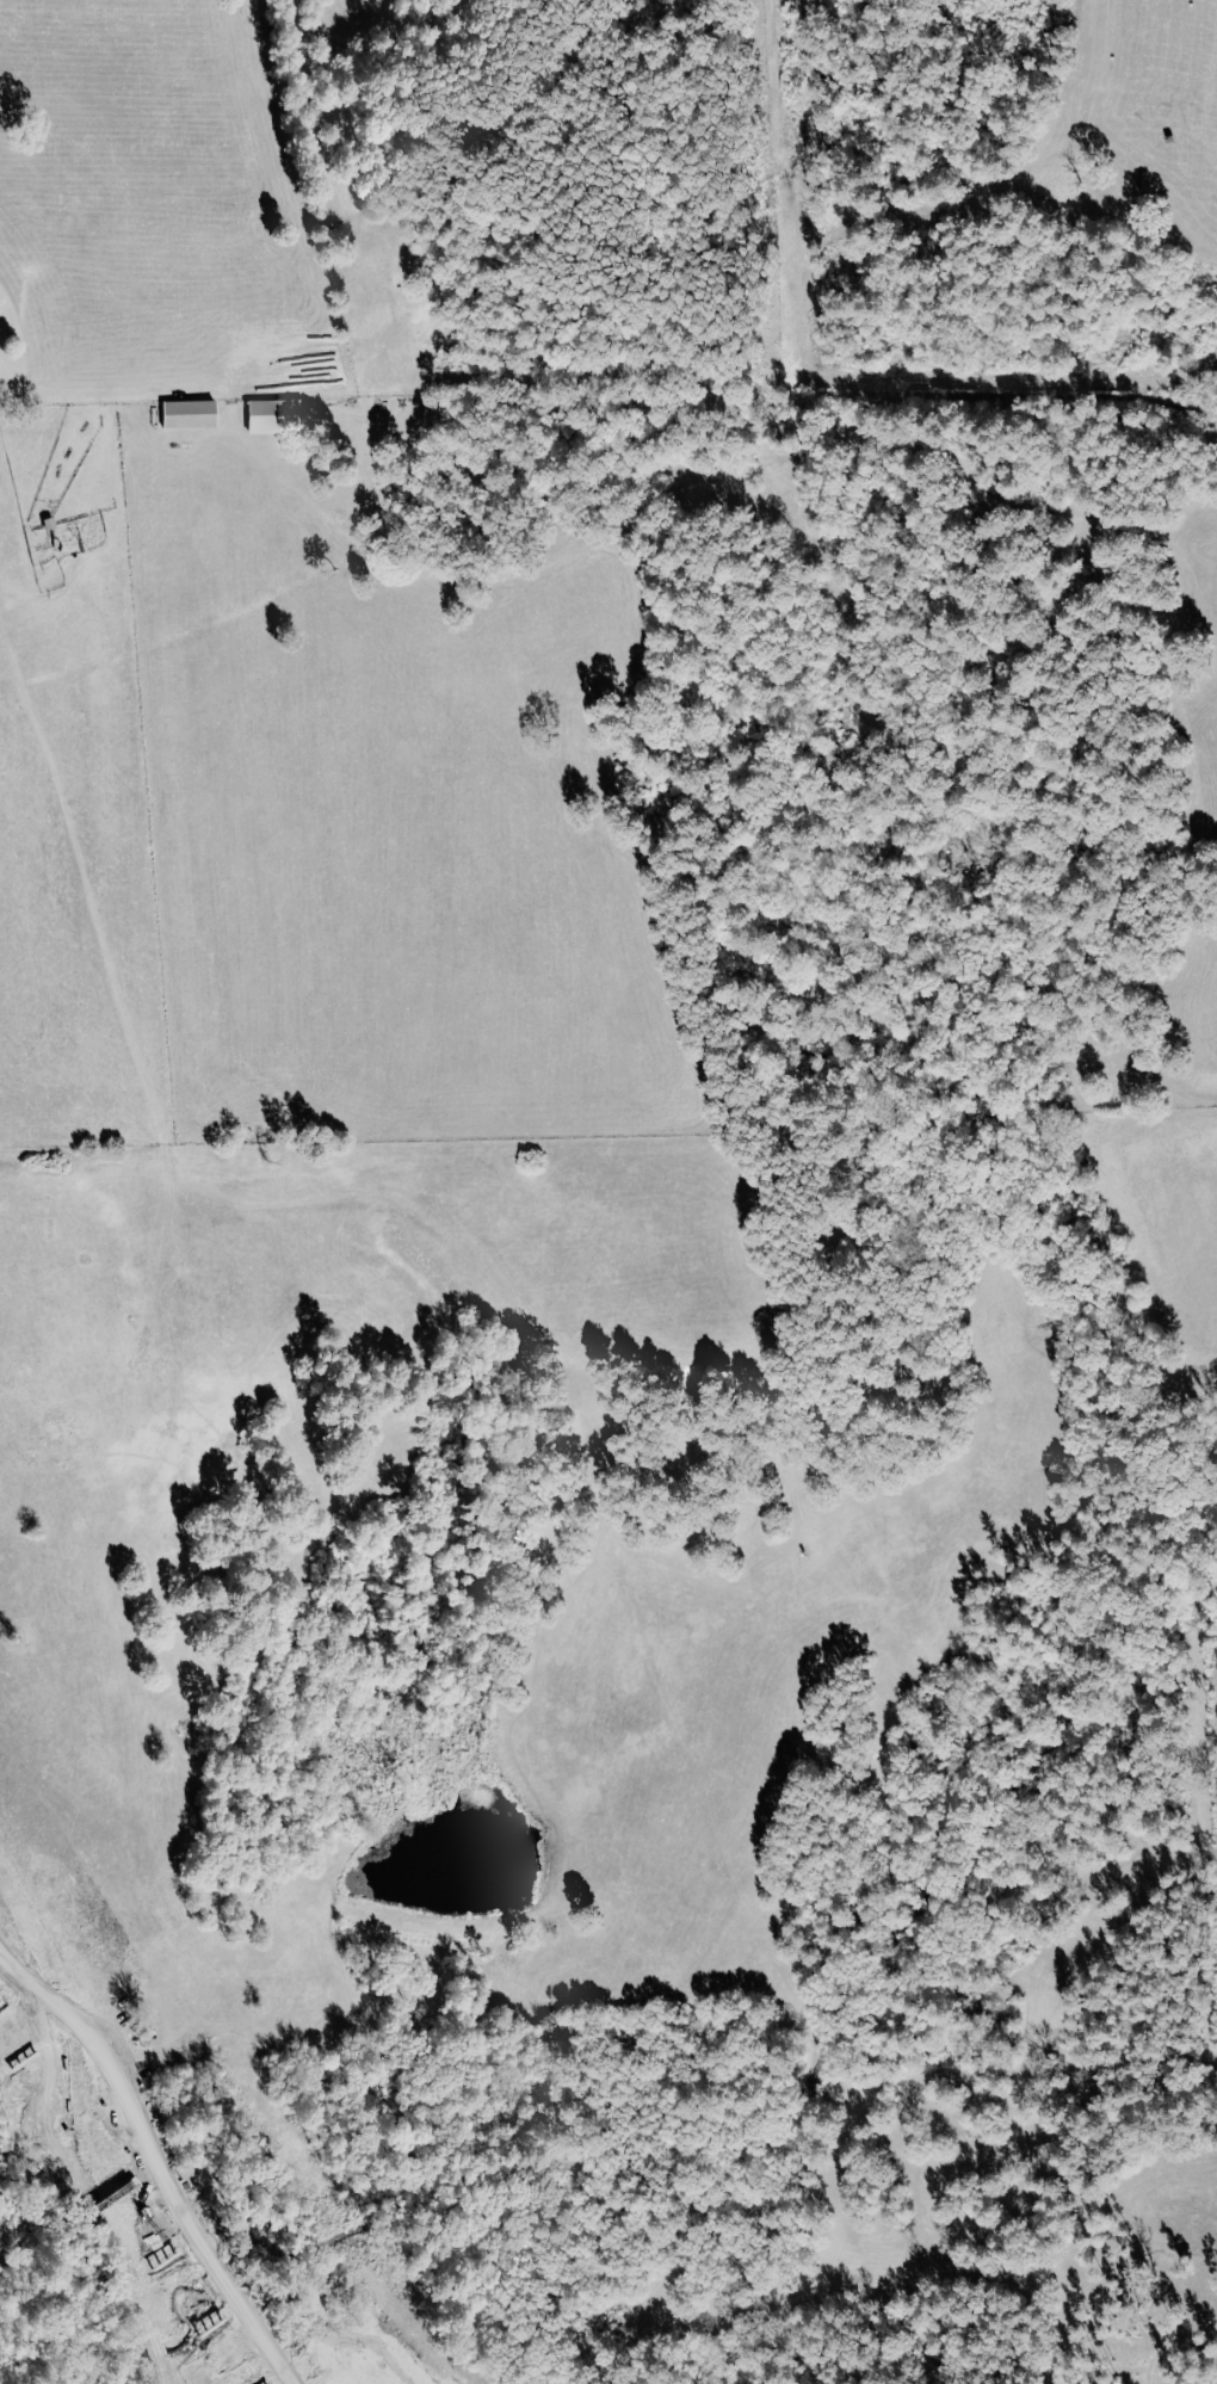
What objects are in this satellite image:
building: (190, 414)
building: (276, 415)

